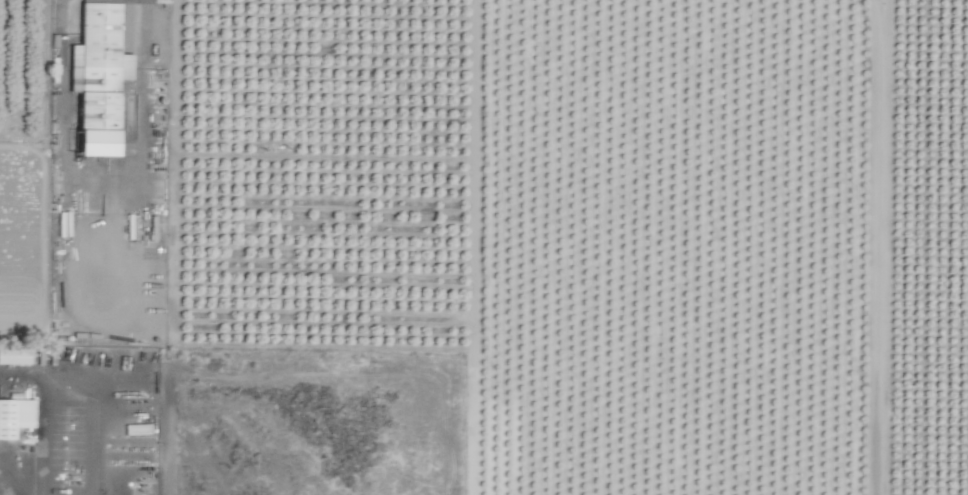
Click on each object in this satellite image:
building: (102, 79)
crop: (484, 247)
building: (139, 429)

